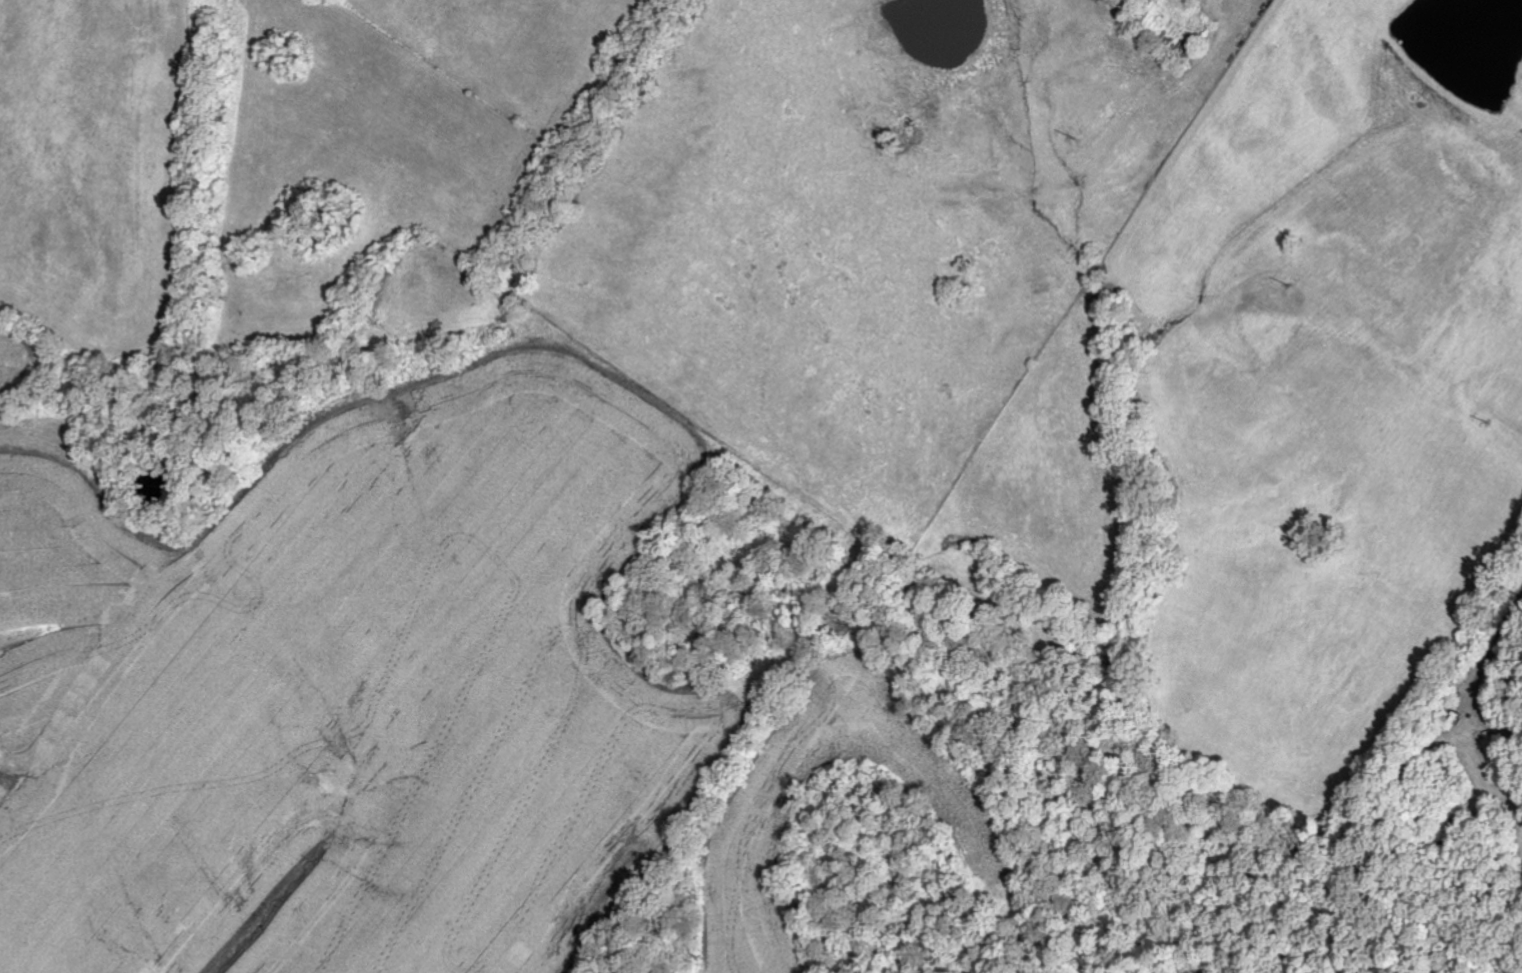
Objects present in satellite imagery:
road: (1489, 655)
building: (1494, 749)

